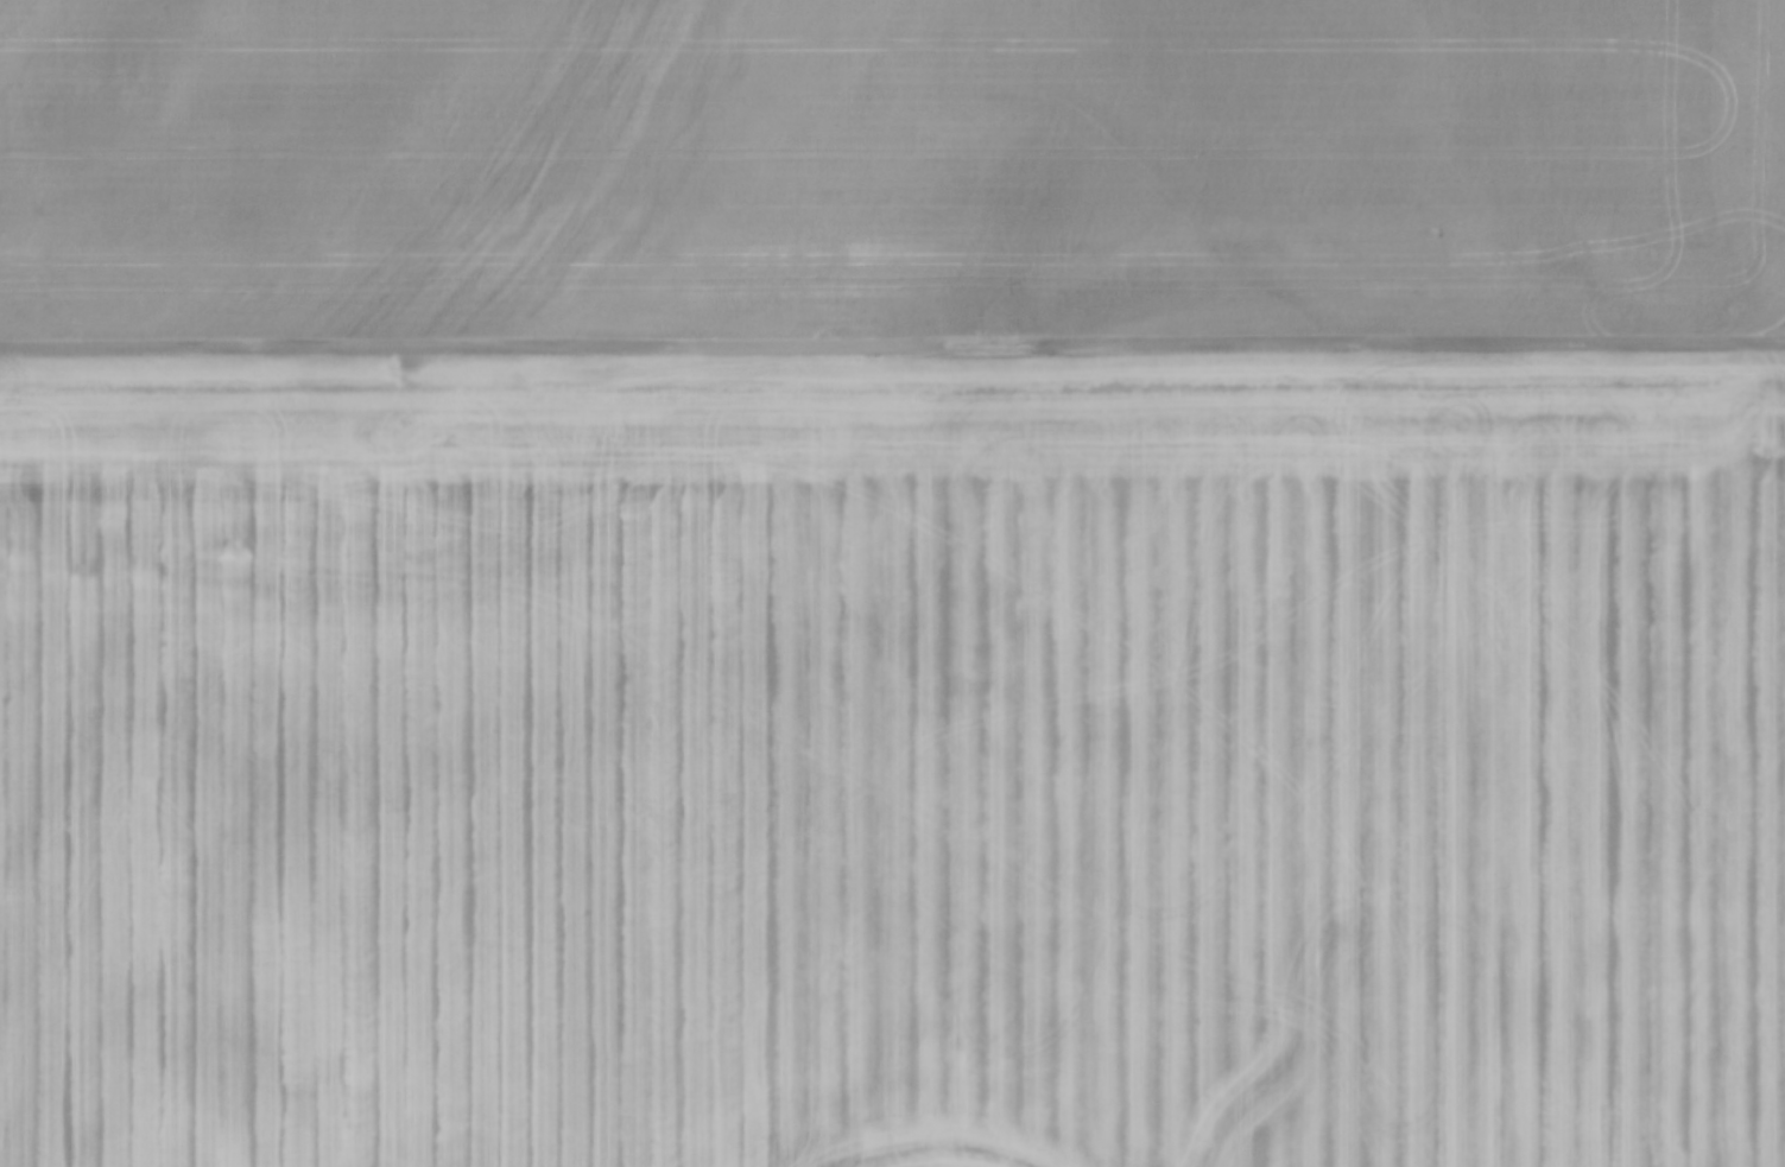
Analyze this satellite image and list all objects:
road: (892, 342)

